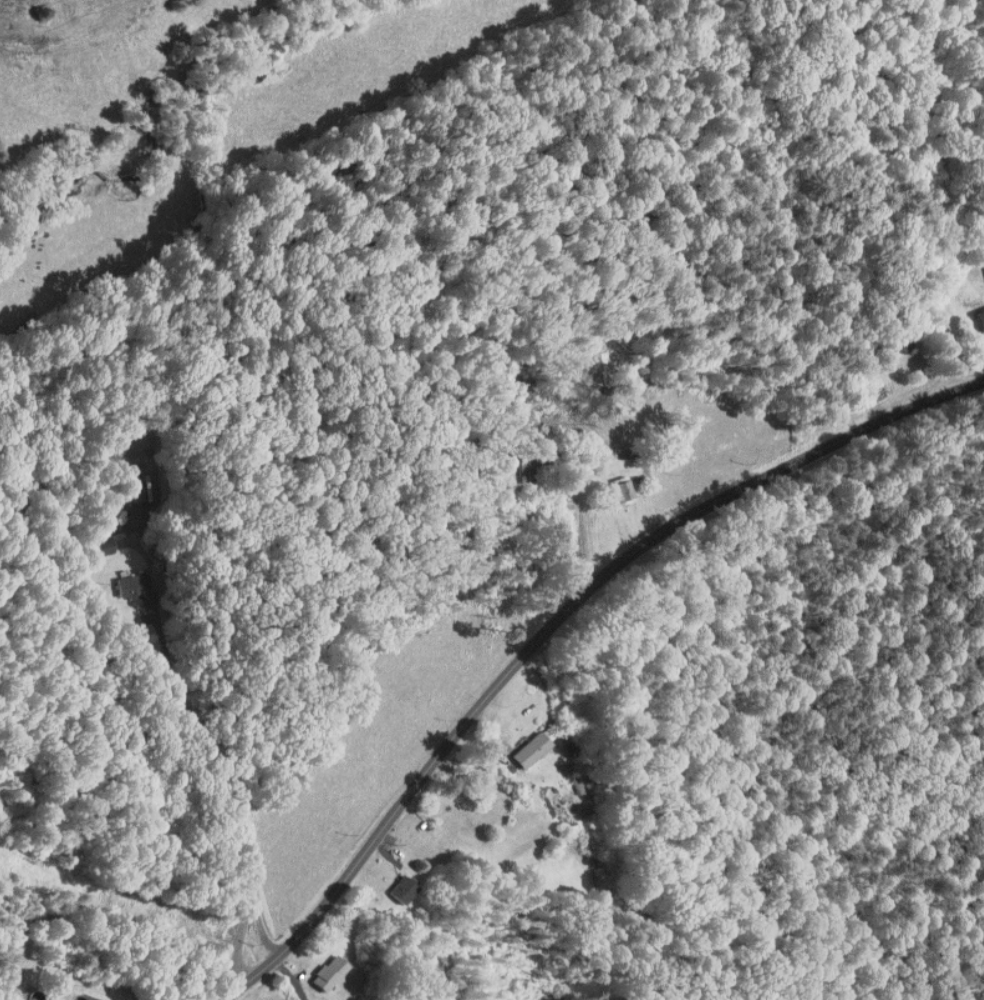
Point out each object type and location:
building: (982, 262)
building: (976, 313)
building: (612, 485)
road: (571, 542)
road: (552, 626)
road: (154, 673)
building: (520, 745)
building: (393, 884)
building: (319, 968)
road: (292, 977)
building: (59, 998)

